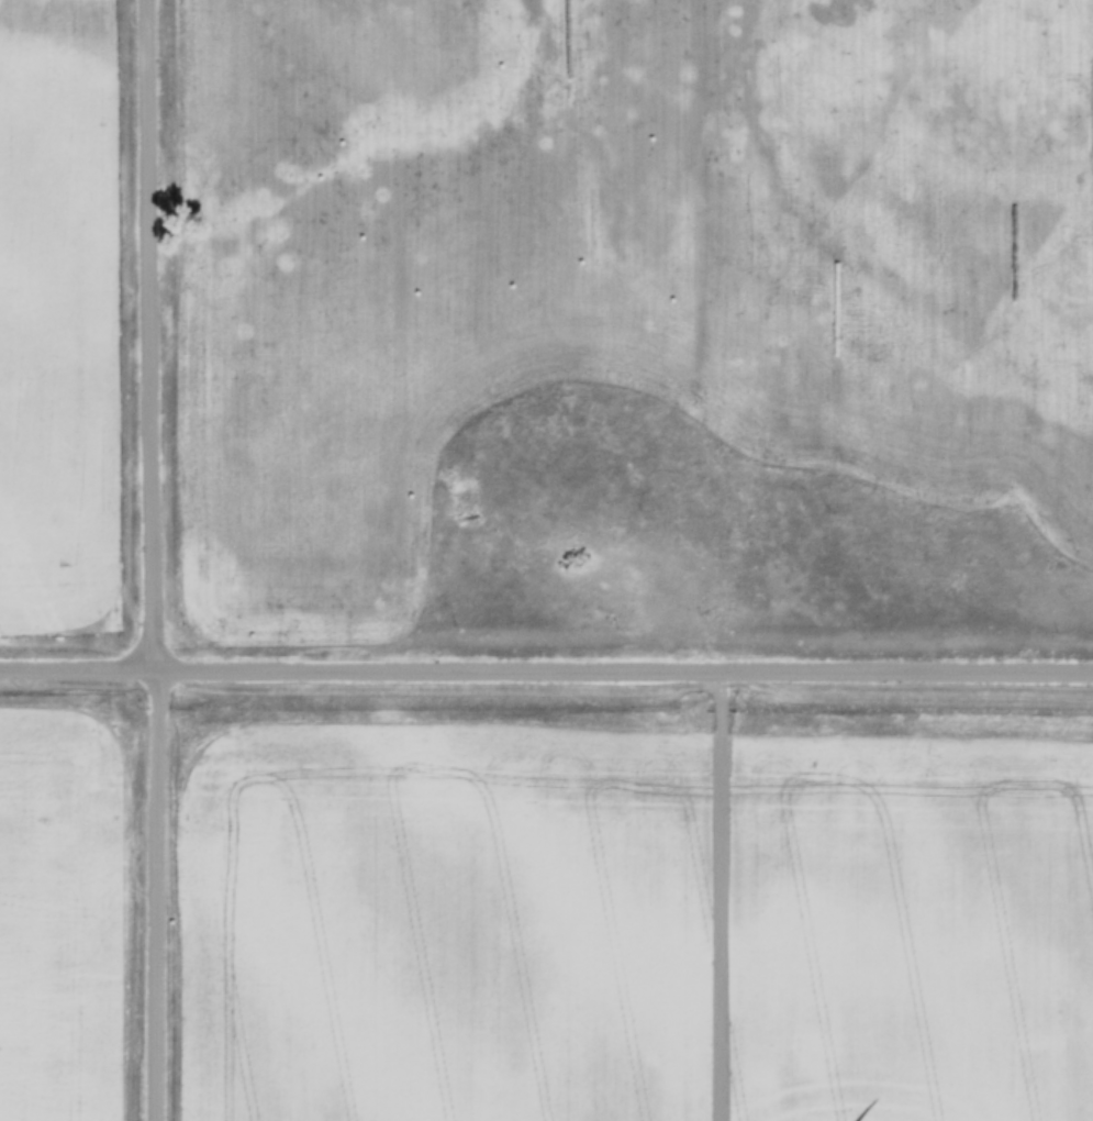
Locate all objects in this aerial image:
road: (155, 333)
road: (546, 670)
road: (155, 895)

